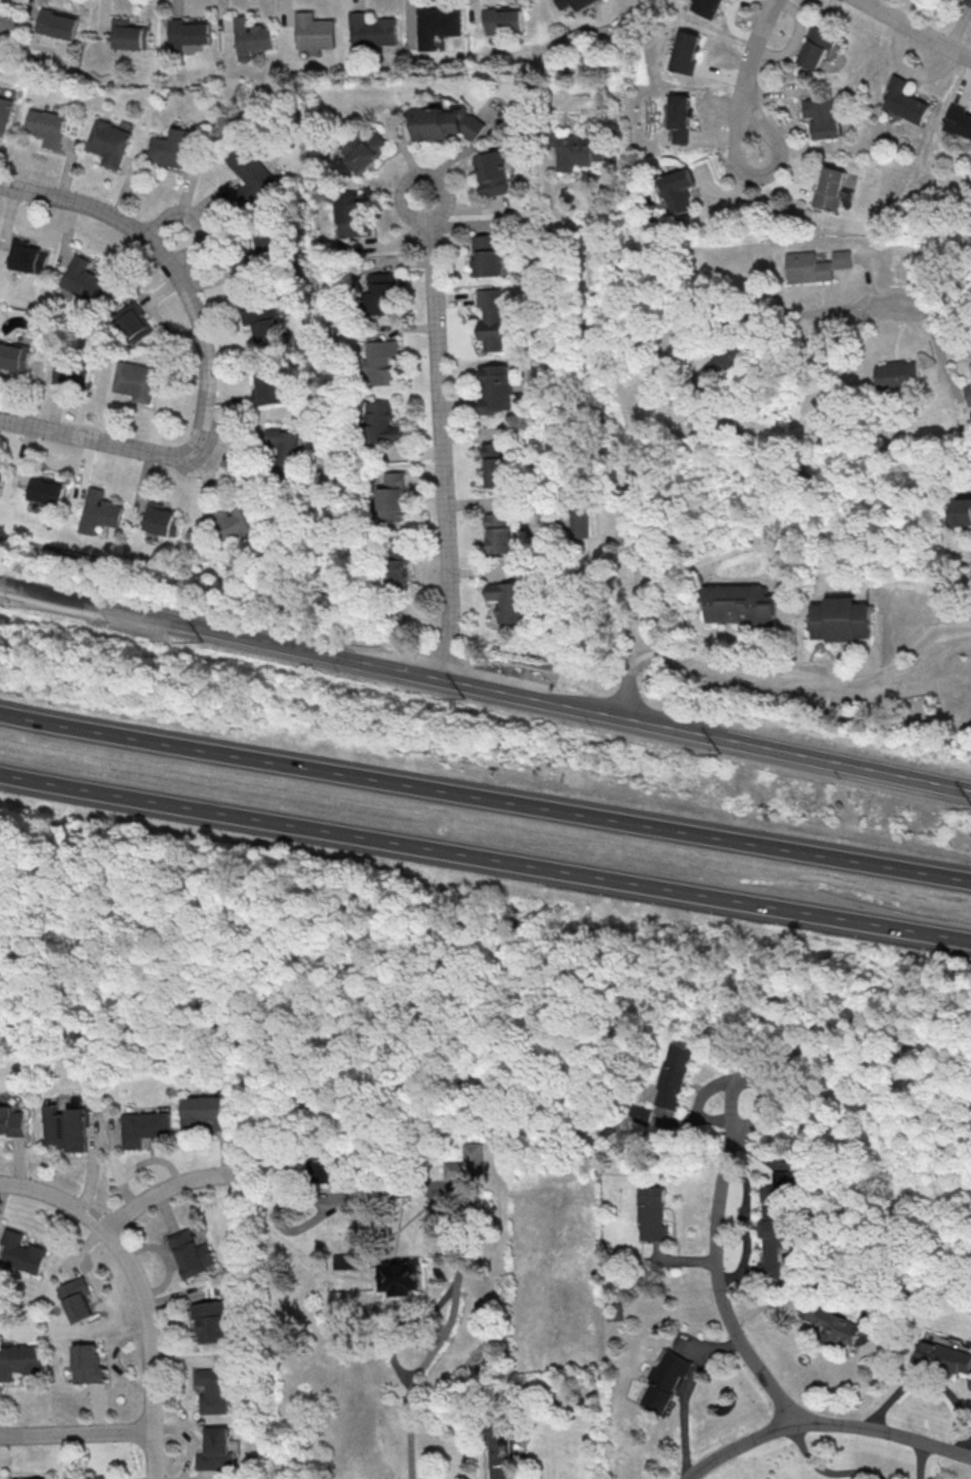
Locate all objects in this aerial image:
building: (968, 1)
building: (577, 3)
building: (703, 7)
building: (499, 20)
building: (56, 24)
building: (433, 26)
road: (915, 28)
building: (312, 31)
building: (369, 31)
building: (185, 32)
building: (125, 34)
building: (248, 36)
building: (815, 48)
building: (683, 51)
road: (746, 76)
building: (4, 112)
building: (823, 117)
building: (678, 118)
building: (446, 122)
building: (958, 122)
building: (44, 127)
building: (107, 143)
building: (170, 148)
building: (365, 151)
building: (580, 151)
building: (251, 171)
building: (493, 173)
building: (831, 188)
building: (679, 190)
road: (196, 214)
building: (351, 215)
building: (271, 250)
building: (487, 255)
building: (29, 256)
road: (166, 262)
building: (816, 265)
building: (81, 279)
building: (383, 293)
road: (593, 294)
building: (491, 319)
building: (134, 323)
building: (265, 323)
road: (683, 342)
building: (14, 355)
building: (382, 362)
building: (722, 364)
building: (72, 373)
building: (899, 374)
building: (133, 381)
building: (269, 388)
building: (495, 389)
building: (969, 390)
building: (383, 423)
road: (439, 435)
road: (102, 442)
building: (288, 444)
building: (498, 464)
building: (1, 475)
building: (45, 490)
building: (392, 492)
building: (99, 511)
building: (960, 511)
building: (580, 514)
building: (162, 519)
building: (237, 522)
building: (498, 533)
building: (400, 566)
building: (507, 601)
building: (738, 604)
building: (841, 619)
power tower: (200, 643)
road: (931, 654)
road: (631, 680)
road: (793, 680)
road: (485, 686)
power tower: (462, 698)
road: (708, 699)
power tower: (716, 754)
road: (485, 799)
power tower: (968, 808)
road: (485, 857)
building: (674, 1076)
building: (210, 1110)
building: (12, 1121)
building: (67, 1127)
building: (146, 1127)
building: (468, 1163)
building: (324, 1171)
road: (168, 1187)
building: (781, 1188)
road: (325, 1196)
road: (69, 1207)
building: (651, 1212)
building: (774, 1237)
building: (22, 1252)
building: (192, 1254)
road: (716, 1266)
building: (401, 1277)
building: (78, 1300)
road: (452, 1301)
building: (615, 1312)
building: (211, 1320)
building: (833, 1323)
road: (402, 1325)
building: (942, 1357)
building: (20, 1360)
building: (88, 1363)
road: (151, 1363)
building: (665, 1381)
road: (929, 1383)
building: (213, 1390)
road: (682, 1394)
road: (825, 1425)
road: (76, 1432)
road: (410, 1440)
building: (218, 1449)
building: (499, 1450)
road: (917, 1461)
road: (819, 1472)
building: (91, 1477)

